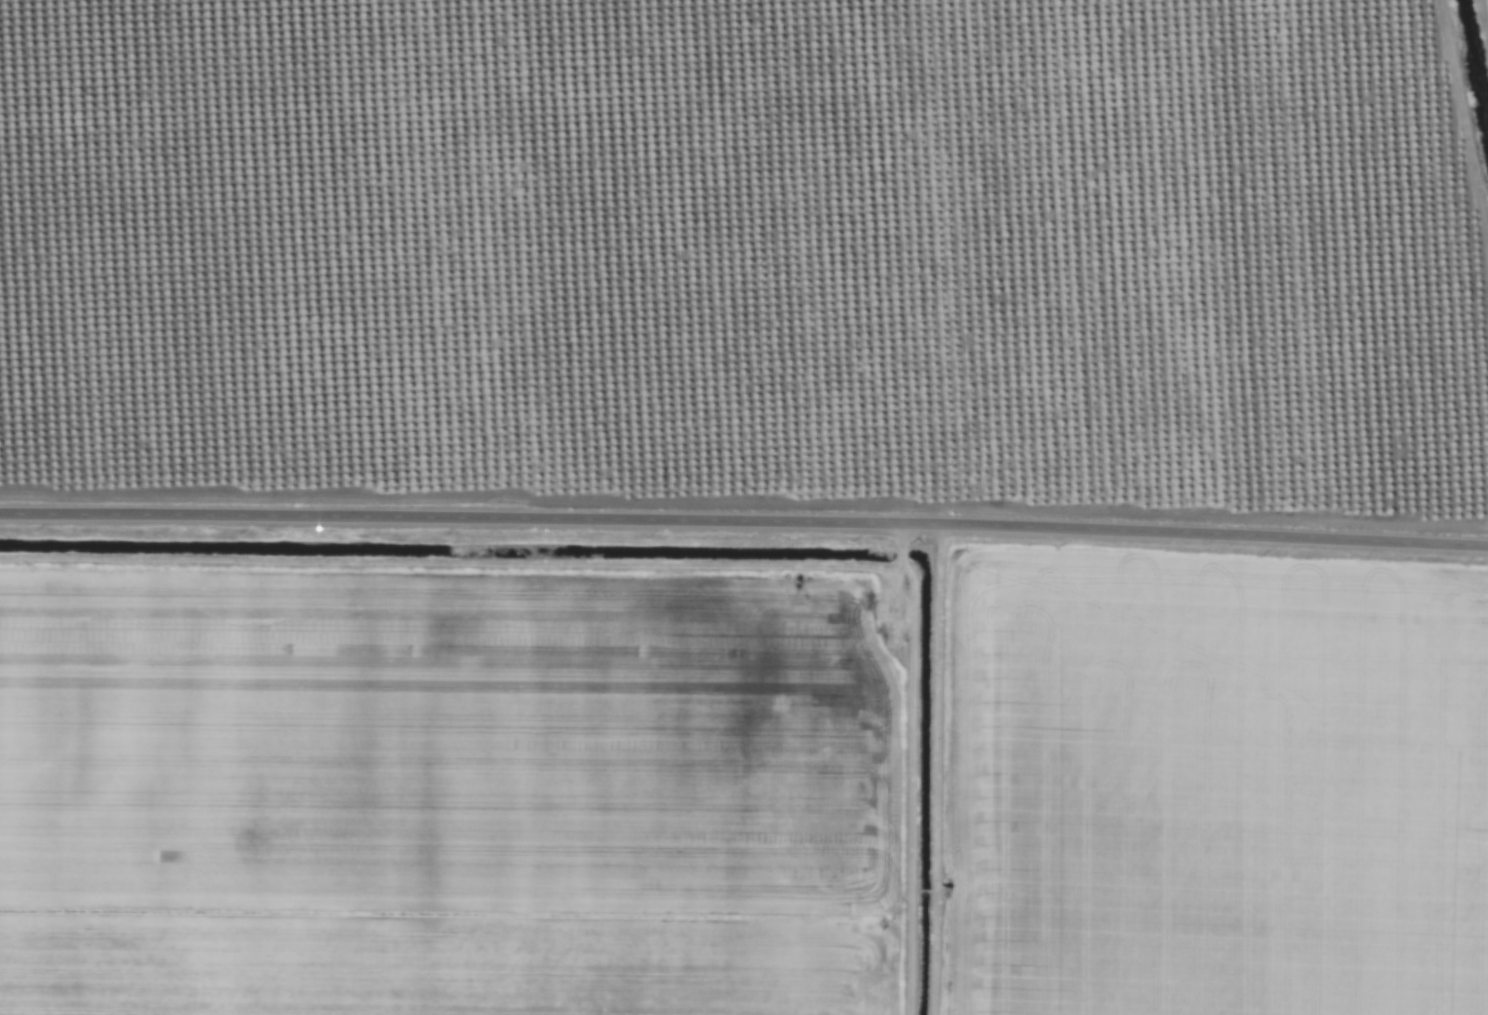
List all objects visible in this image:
road: (744, 524)
crop: (446, 791)

